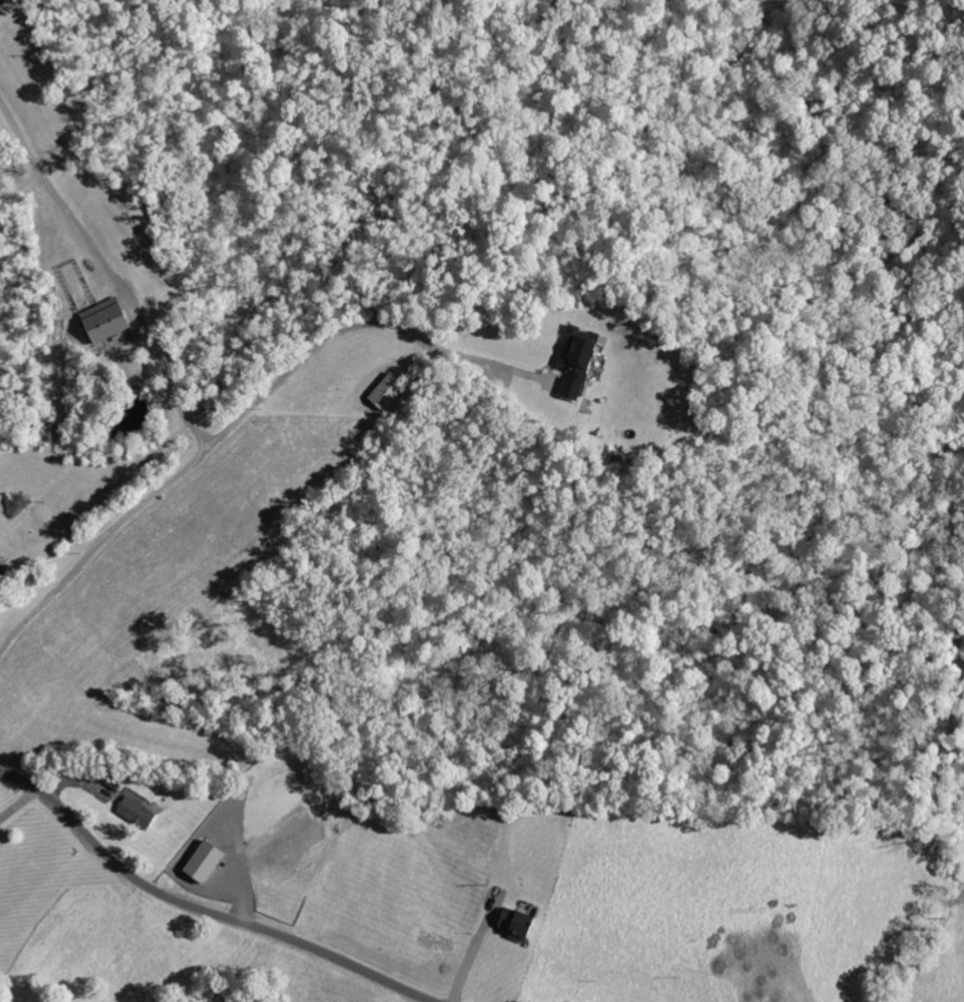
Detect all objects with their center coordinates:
building: (4, 2)
road: (341, 319)
building: (111, 320)
building: (583, 361)
road: (176, 391)
road: (20, 806)
building: (142, 812)
building: (210, 860)
road: (204, 909)
building: (523, 923)

